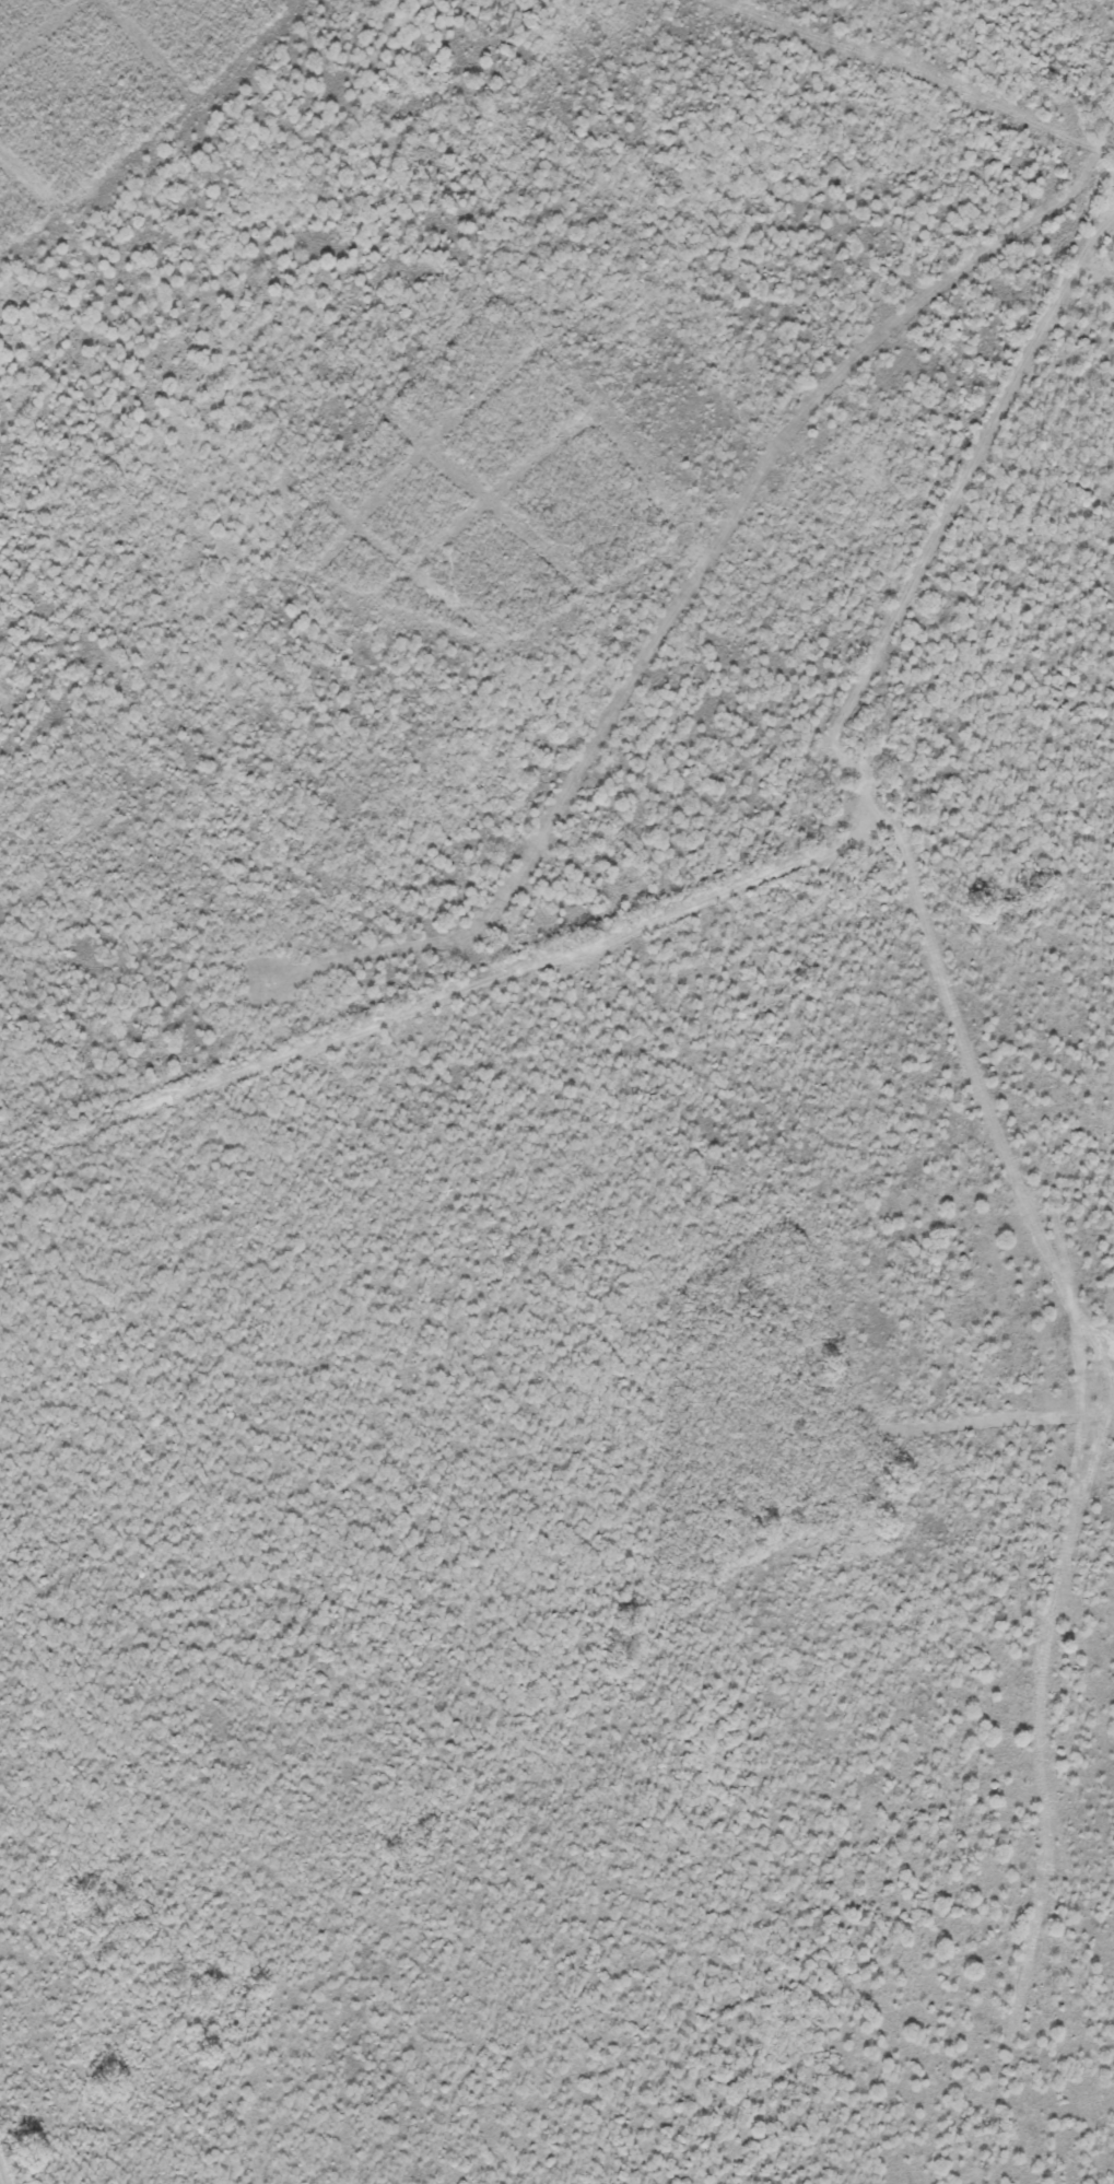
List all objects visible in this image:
road: (0, 2182)

